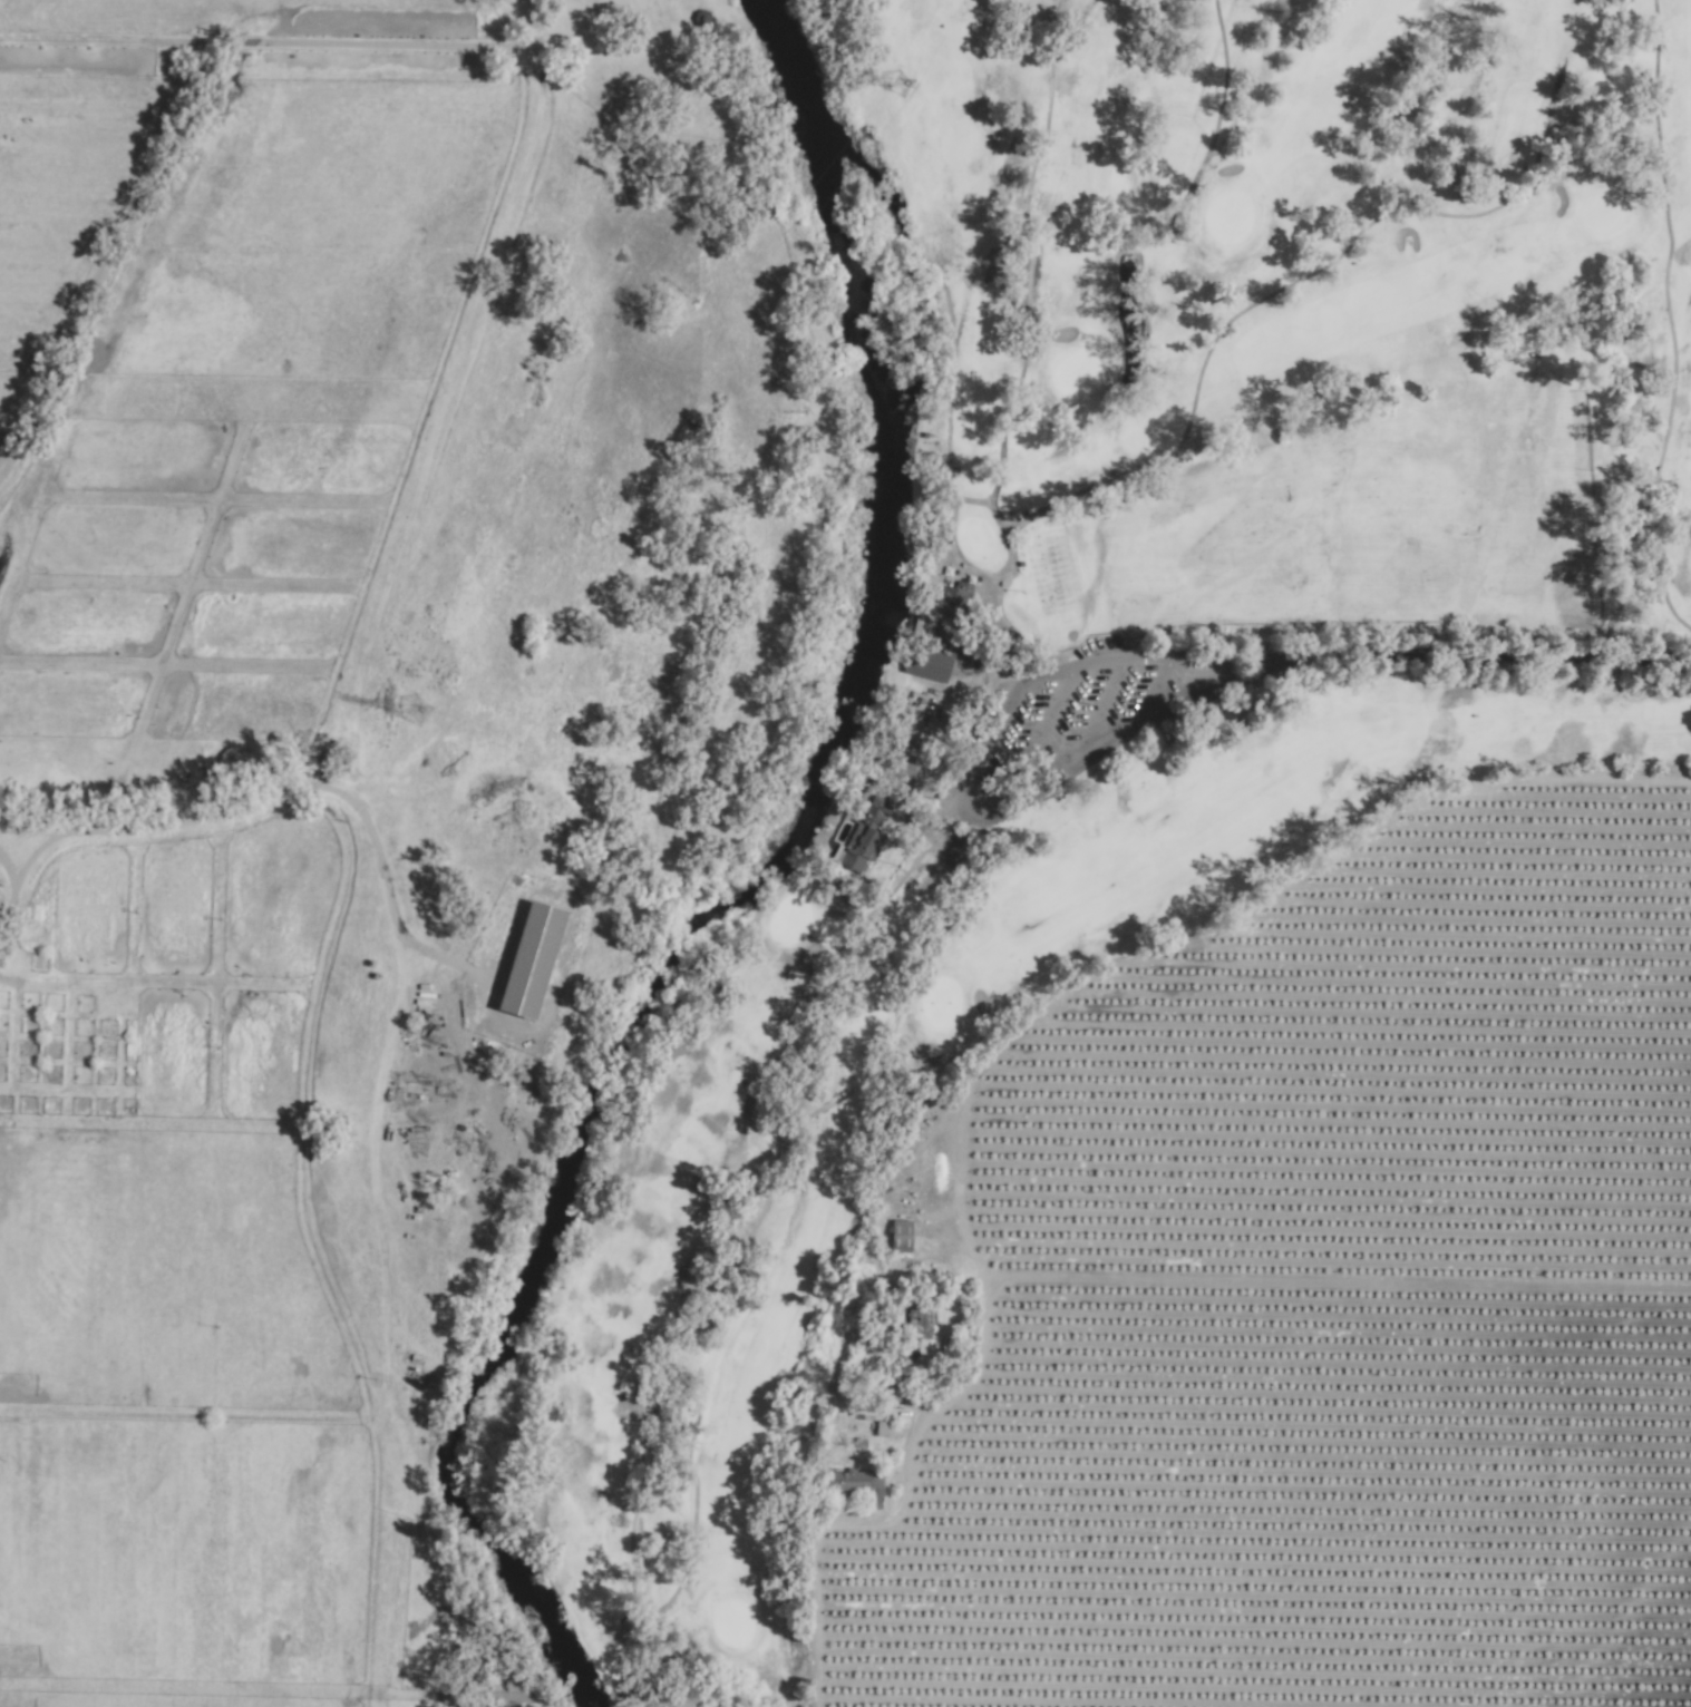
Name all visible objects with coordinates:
power tower: (897, 87)
crop: (473, 407)
building: (956, 604)
park: (1162, 659)
road: (1477, 660)
building: (929, 663)
power tower: (412, 713)
road: (964, 793)
building: (864, 836)
building: (532, 960)
building: (901, 1237)
crop: (330, 1246)
road: (1343, 1284)
road: (963, 1382)
building: (856, 1481)

